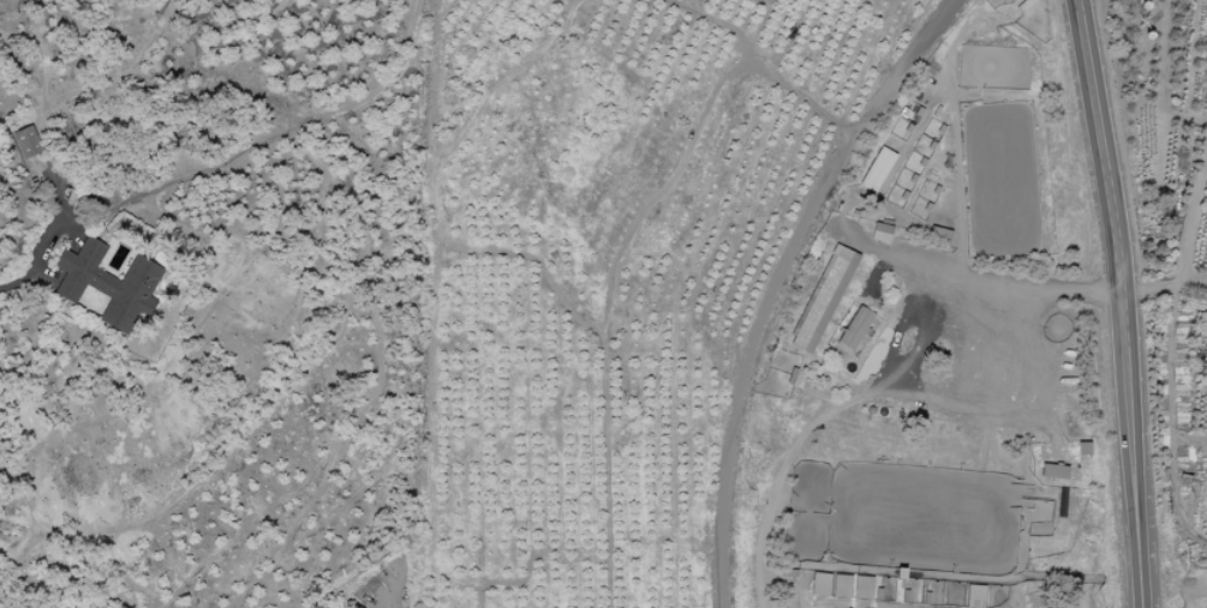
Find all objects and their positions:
building: (26, 142)
building: (876, 169)
road: (1105, 174)
building: (879, 233)
road: (956, 277)
road: (30, 278)
road: (777, 282)
building: (108, 283)
building: (821, 299)
building: (1201, 325)
building: (854, 329)
road: (817, 422)
building: (1052, 471)
road: (1133, 478)
building: (819, 584)
building: (839, 585)
building: (861, 588)
building: (974, 596)

